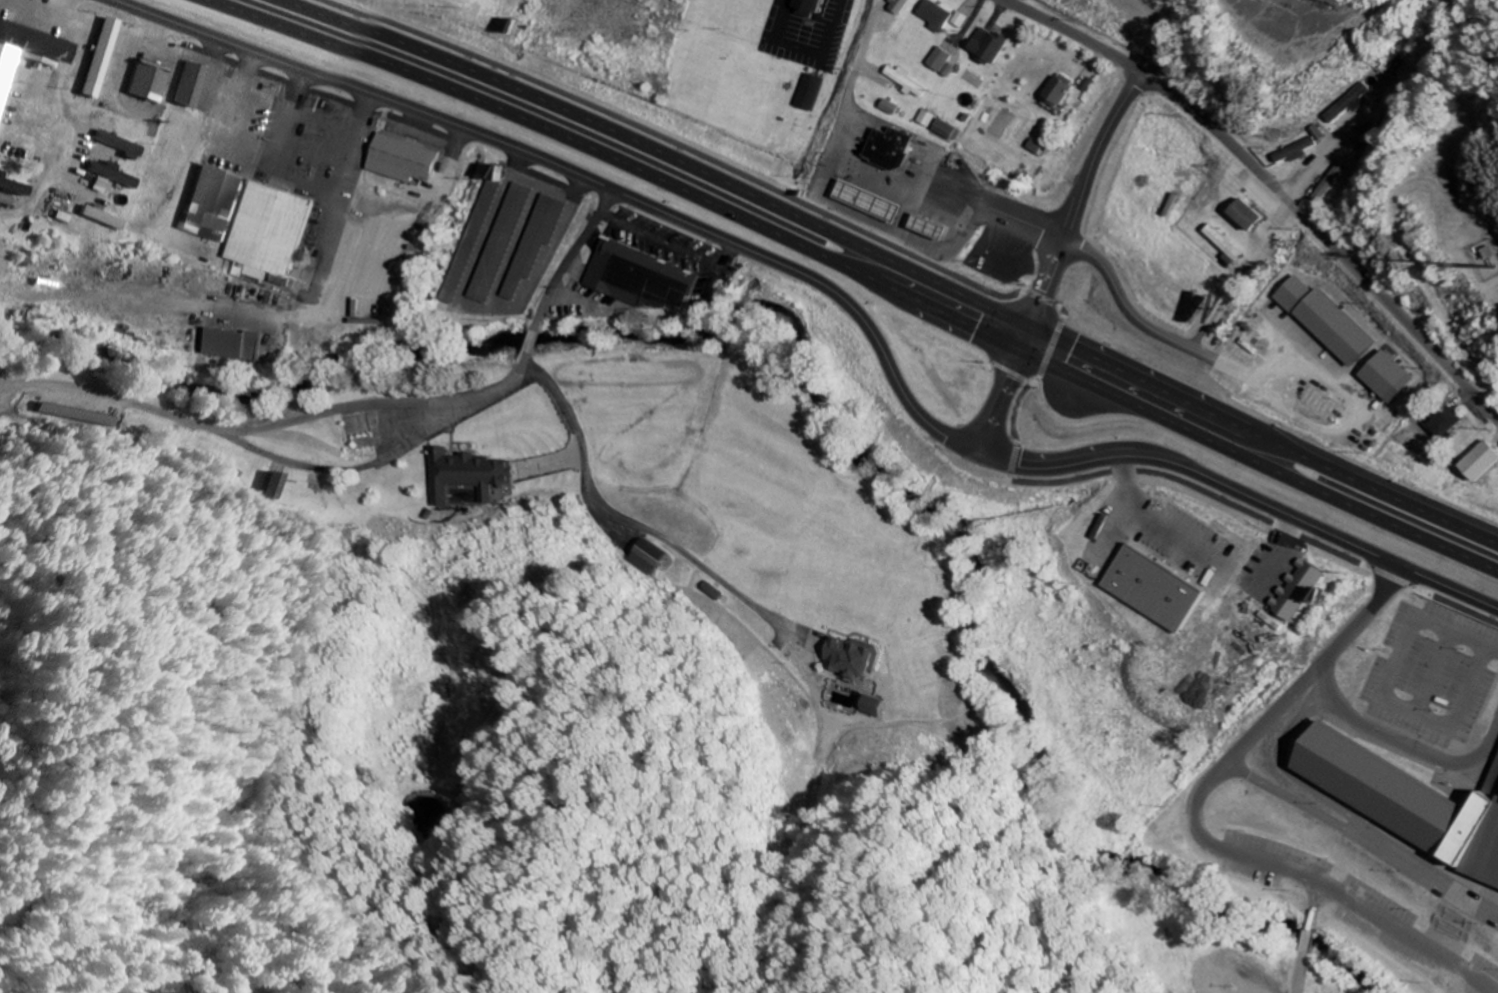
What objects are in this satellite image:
building: (809, 5)
building: (898, 6)
building: (934, 16)
building: (957, 20)
building: (986, 45)
building: (105, 51)
building: (27, 53)
building: (938, 59)
building: (903, 81)
building: (150, 82)
building: (193, 85)
building: (809, 92)
building: (1058, 92)
road: (848, 99)
building: (1347, 103)
building: (888, 108)
building: (924, 119)
building: (943, 130)
building: (122, 145)
building: (892, 148)
building: (1299, 148)
building: (404, 160)
building: (114, 174)
road: (1273, 182)
building: (101, 185)
building: (14, 187)
road: (946, 197)
building: (7, 199)
building: (872, 201)
building: (217, 202)
building: (1249, 216)
building: (104, 218)
building: (934, 228)
building: (274, 229)
building: (538, 240)
building: (502, 243)
road: (571, 253)
road: (1055, 260)
road: (895, 262)
road: (856, 272)
building: (642, 276)
road: (828, 290)
building: (1328, 321)
traffic signals: (1032, 325)
river: (637, 327)
road: (535, 338)
building: (235, 343)
traffic signals: (1022, 349)
building: (1389, 377)
building: (1321, 404)
building: (55, 411)
building: (1448, 423)
road: (229, 430)
road: (386, 448)
building: (1483, 461)
building: (465, 475)
building: (280, 486)
building: (646, 554)
building: (637, 565)
building: (1150, 589)
building: (1298, 591)
building: (854, 658)
building: (871, 707)
building: (1496, 781)
building: (1453, 799)
river: (1182, 891)

